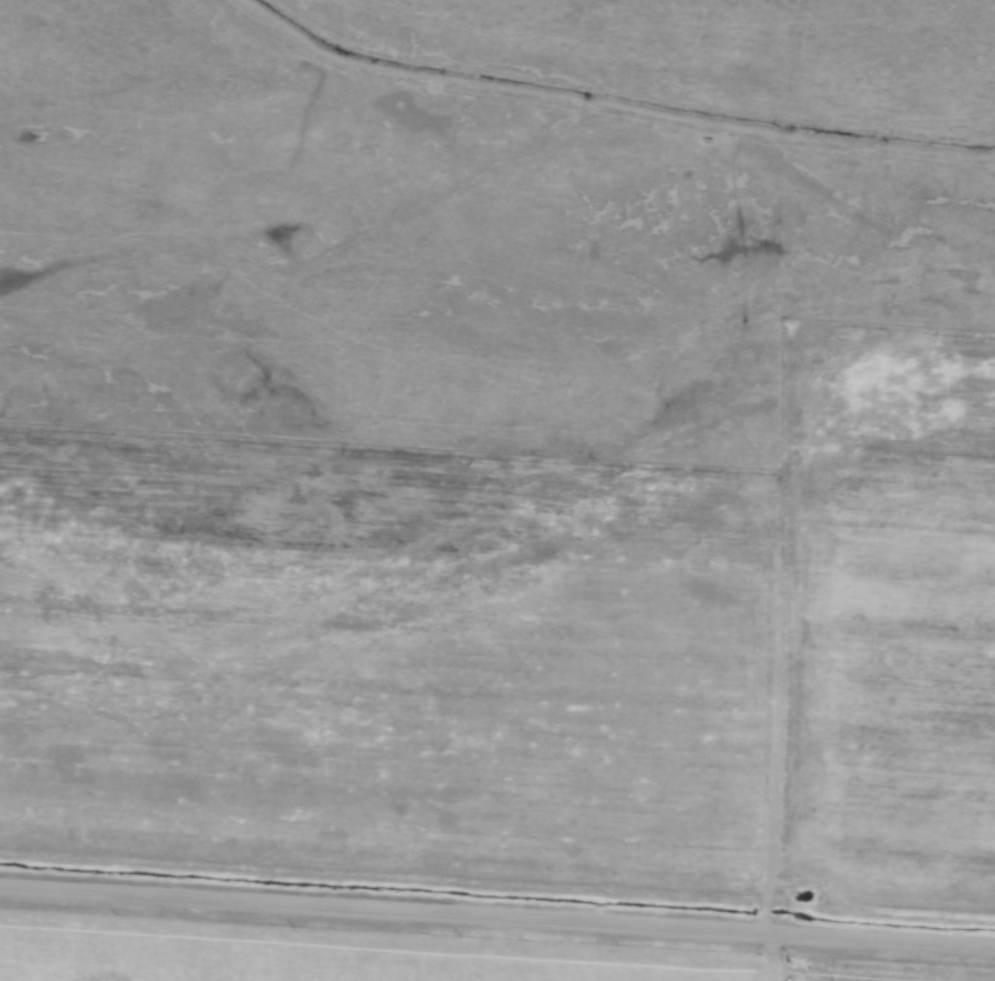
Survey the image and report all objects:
road: (497, 922)

